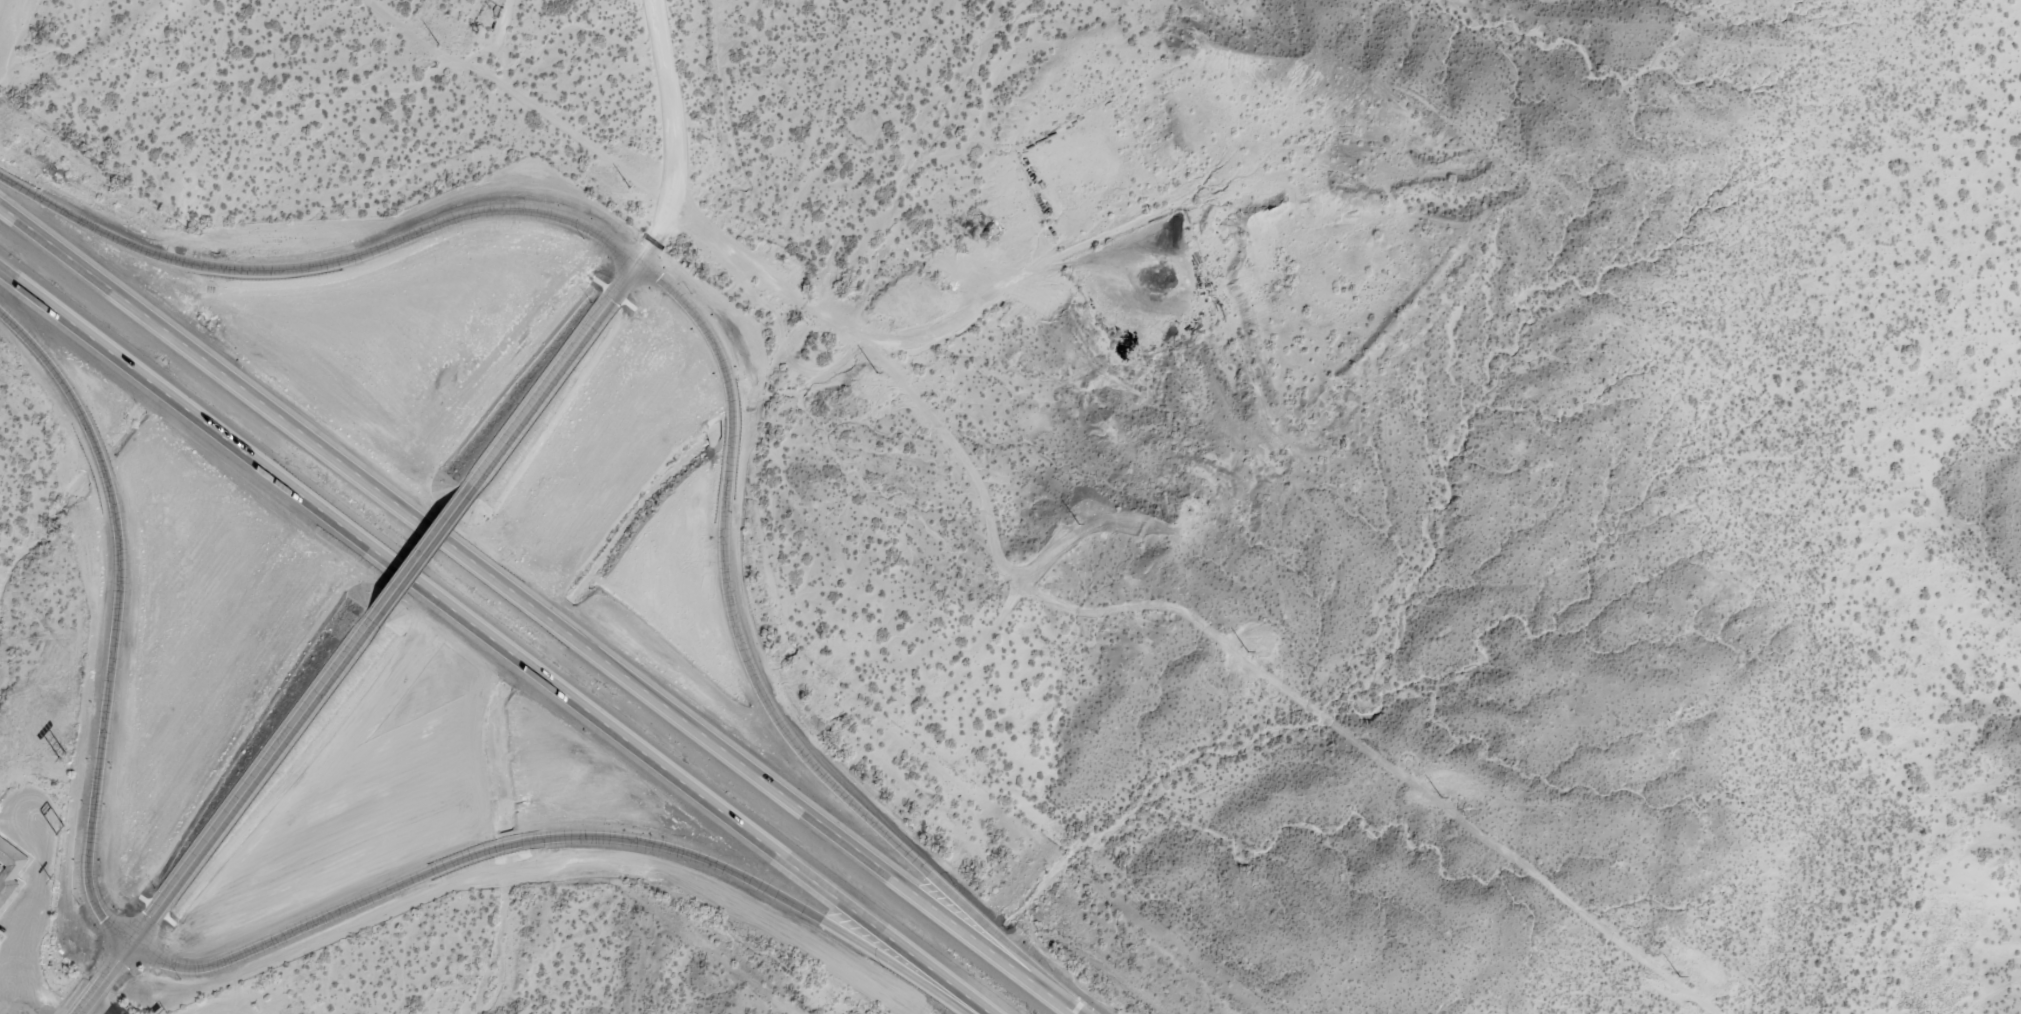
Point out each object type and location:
road: (674, 134)
road: (317, 267)
road: (549, 381)
road: (418, 559)
road: (534, 612)
road: (112, 621)
road: (493, 642)
road: (753, 687)
road: (224, 817)
road: (553, 839)
building: (6, 875)

